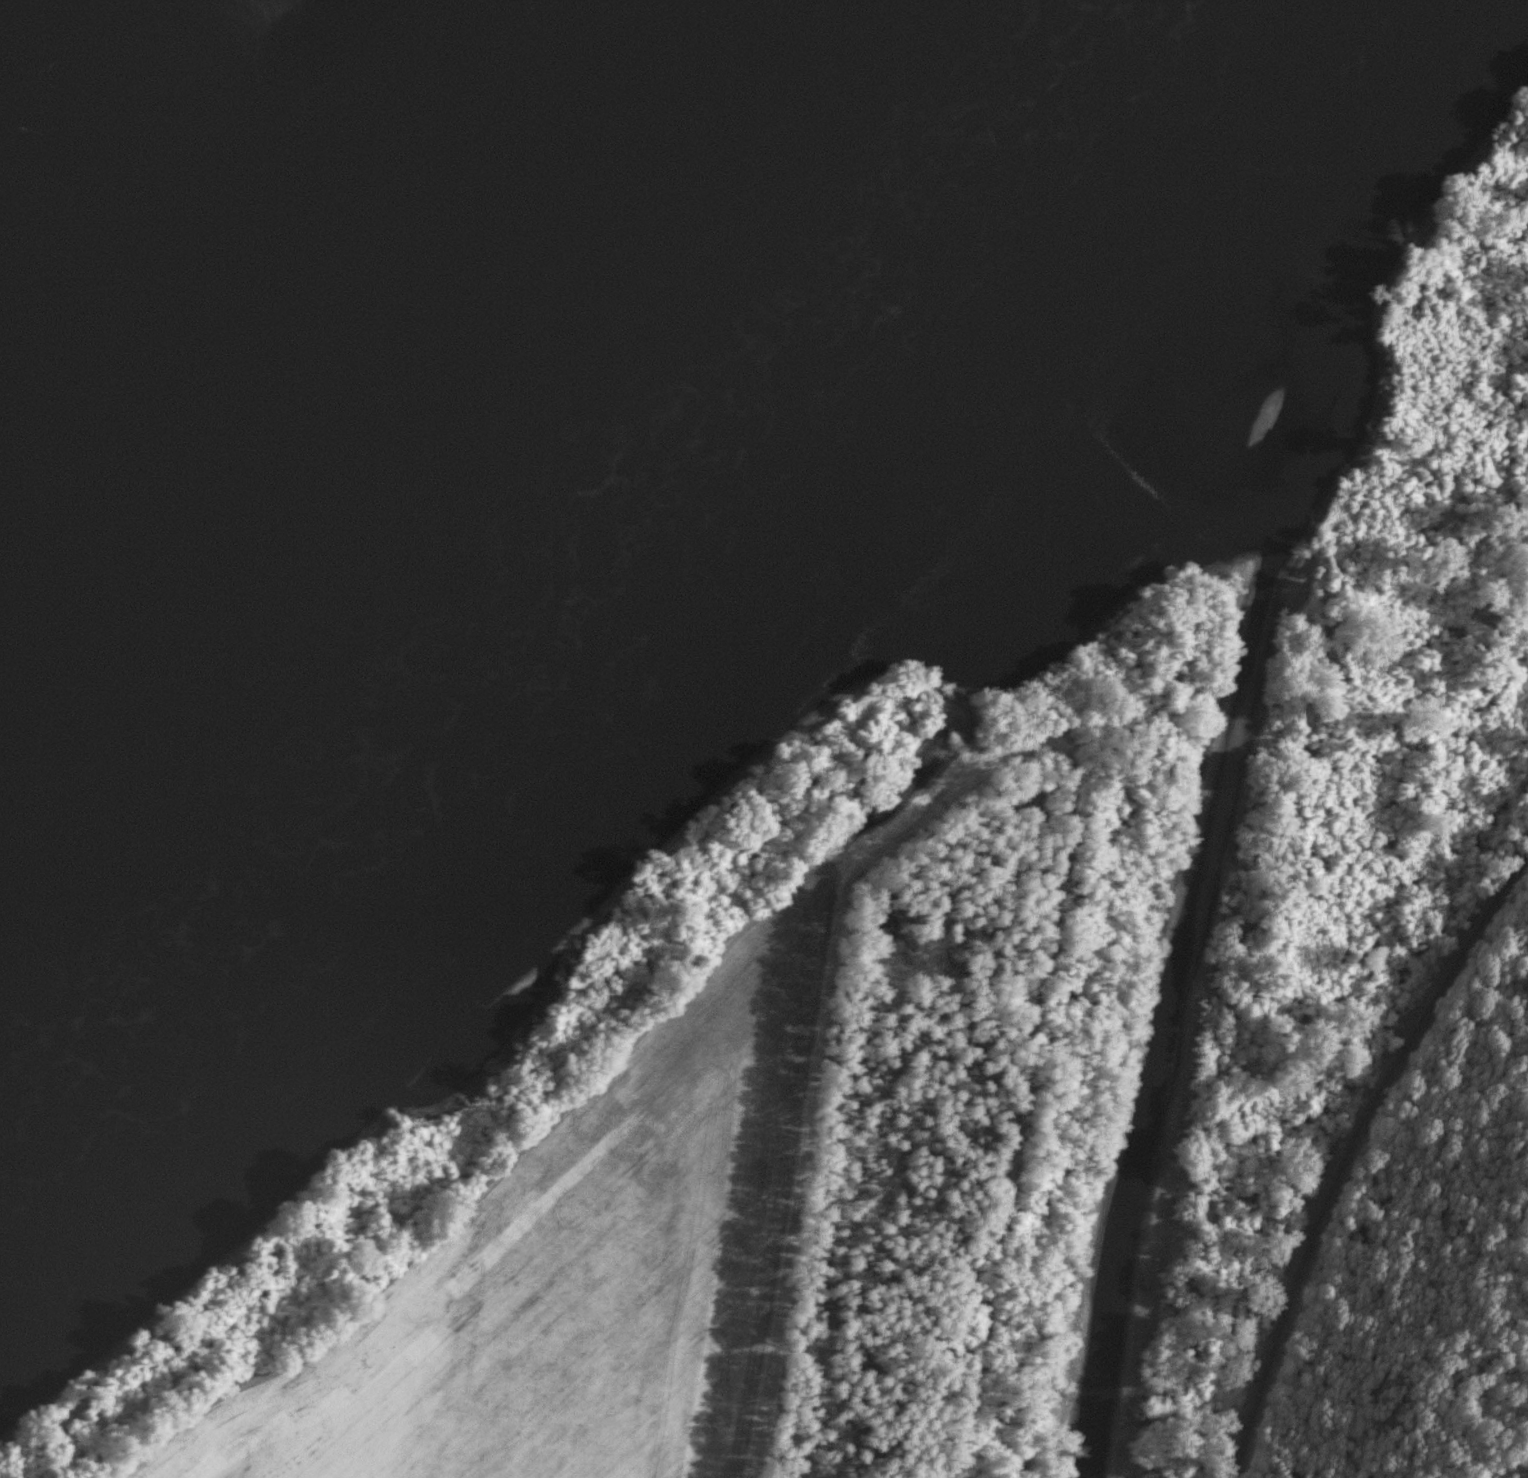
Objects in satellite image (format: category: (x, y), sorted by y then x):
river: (436, 541)
railway: (1349, 1149)
crop: (587, 1225)
road: (1450, 1457)

